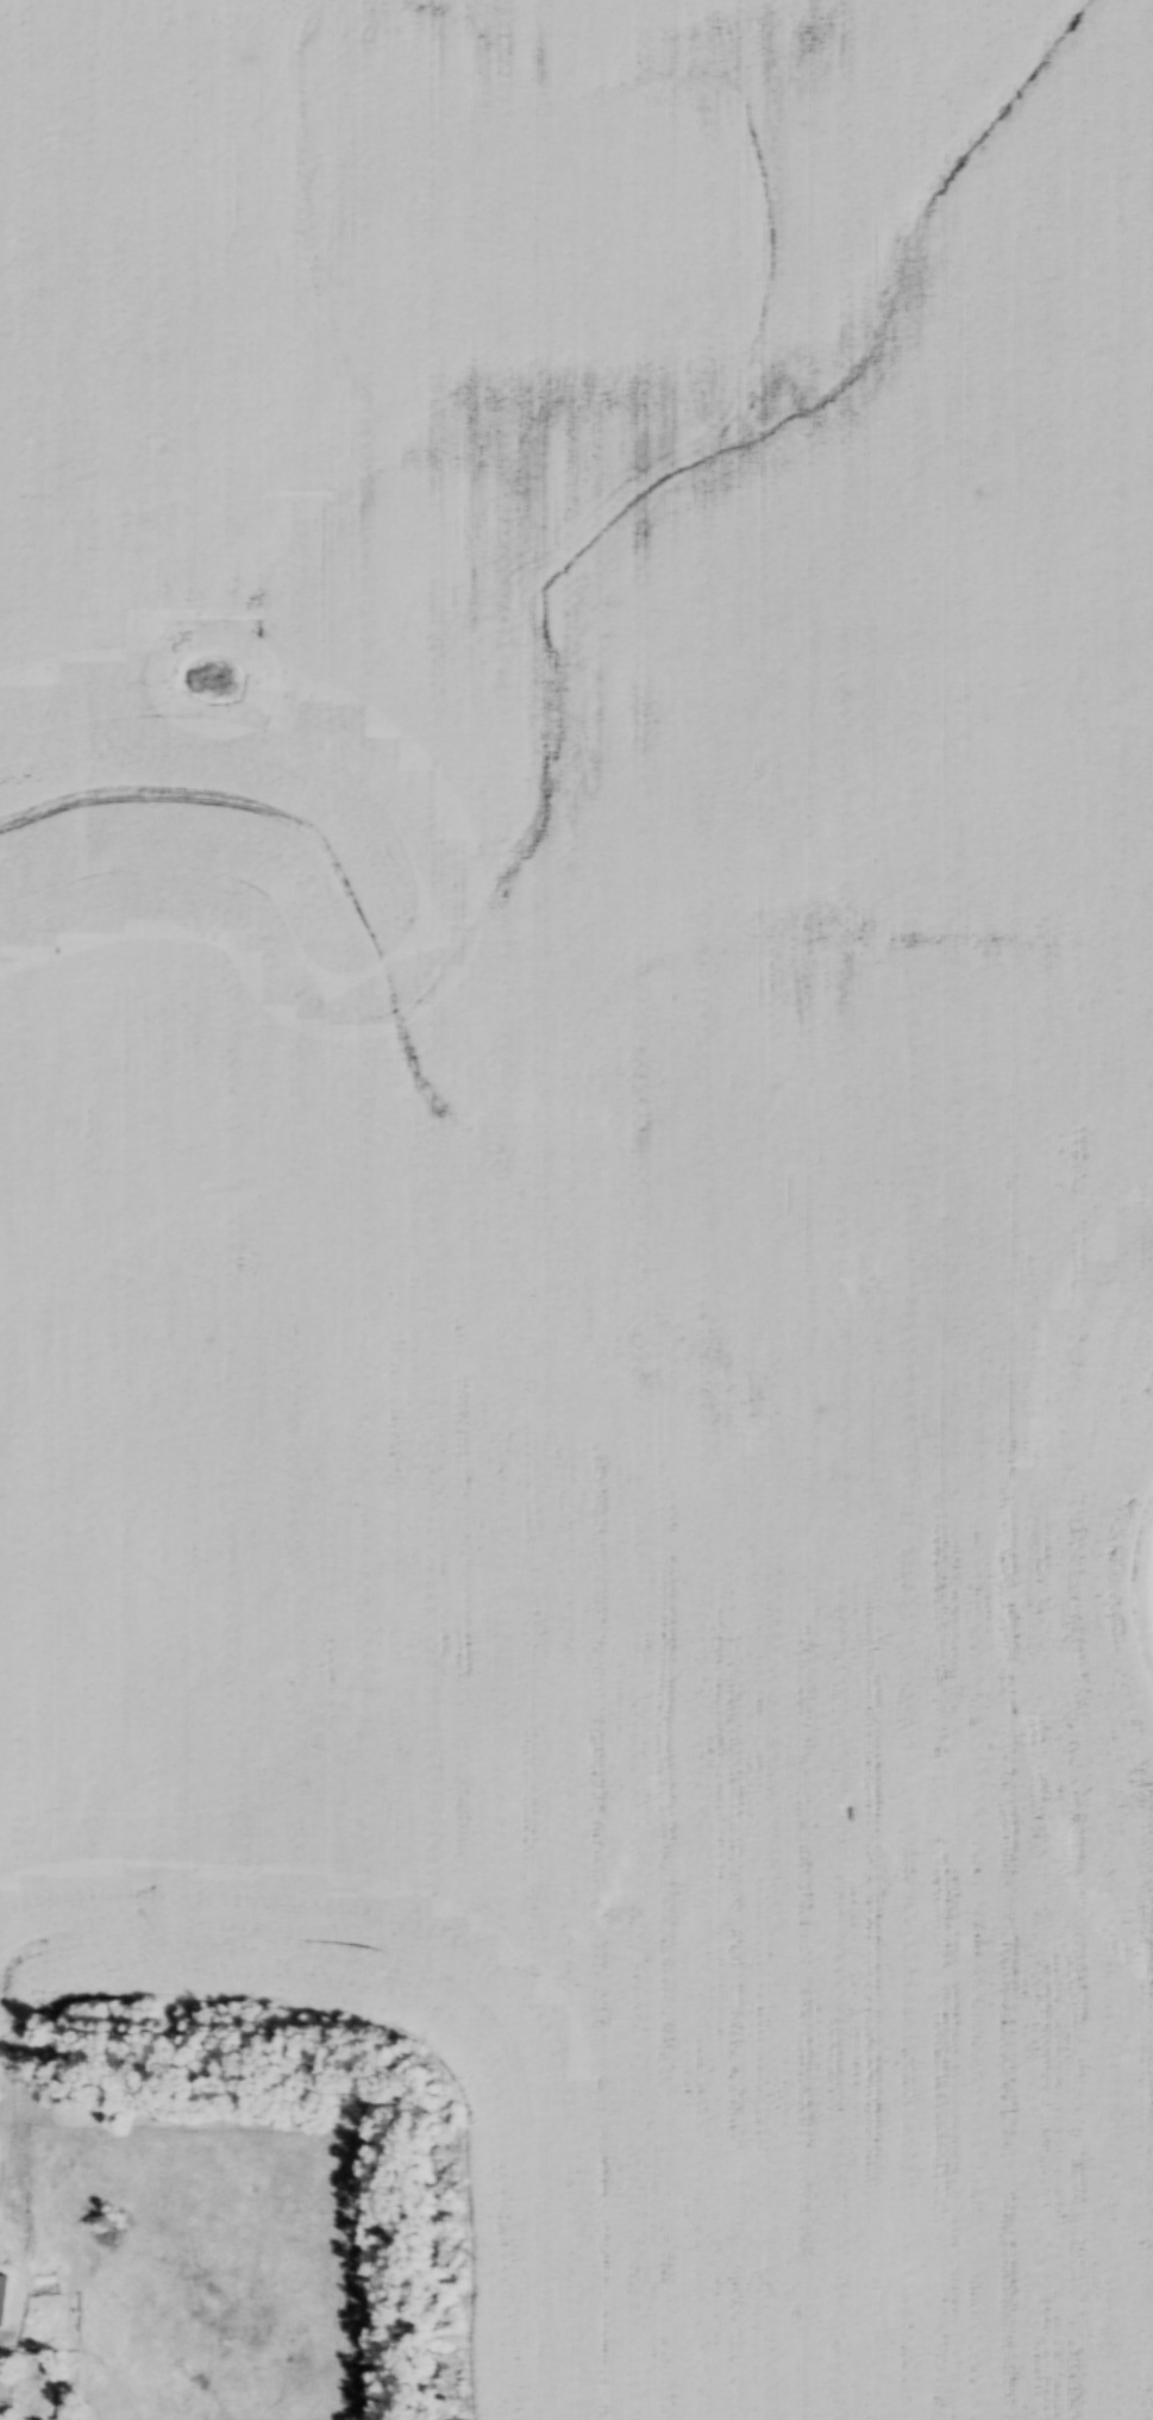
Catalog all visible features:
building: (1, 2295)

